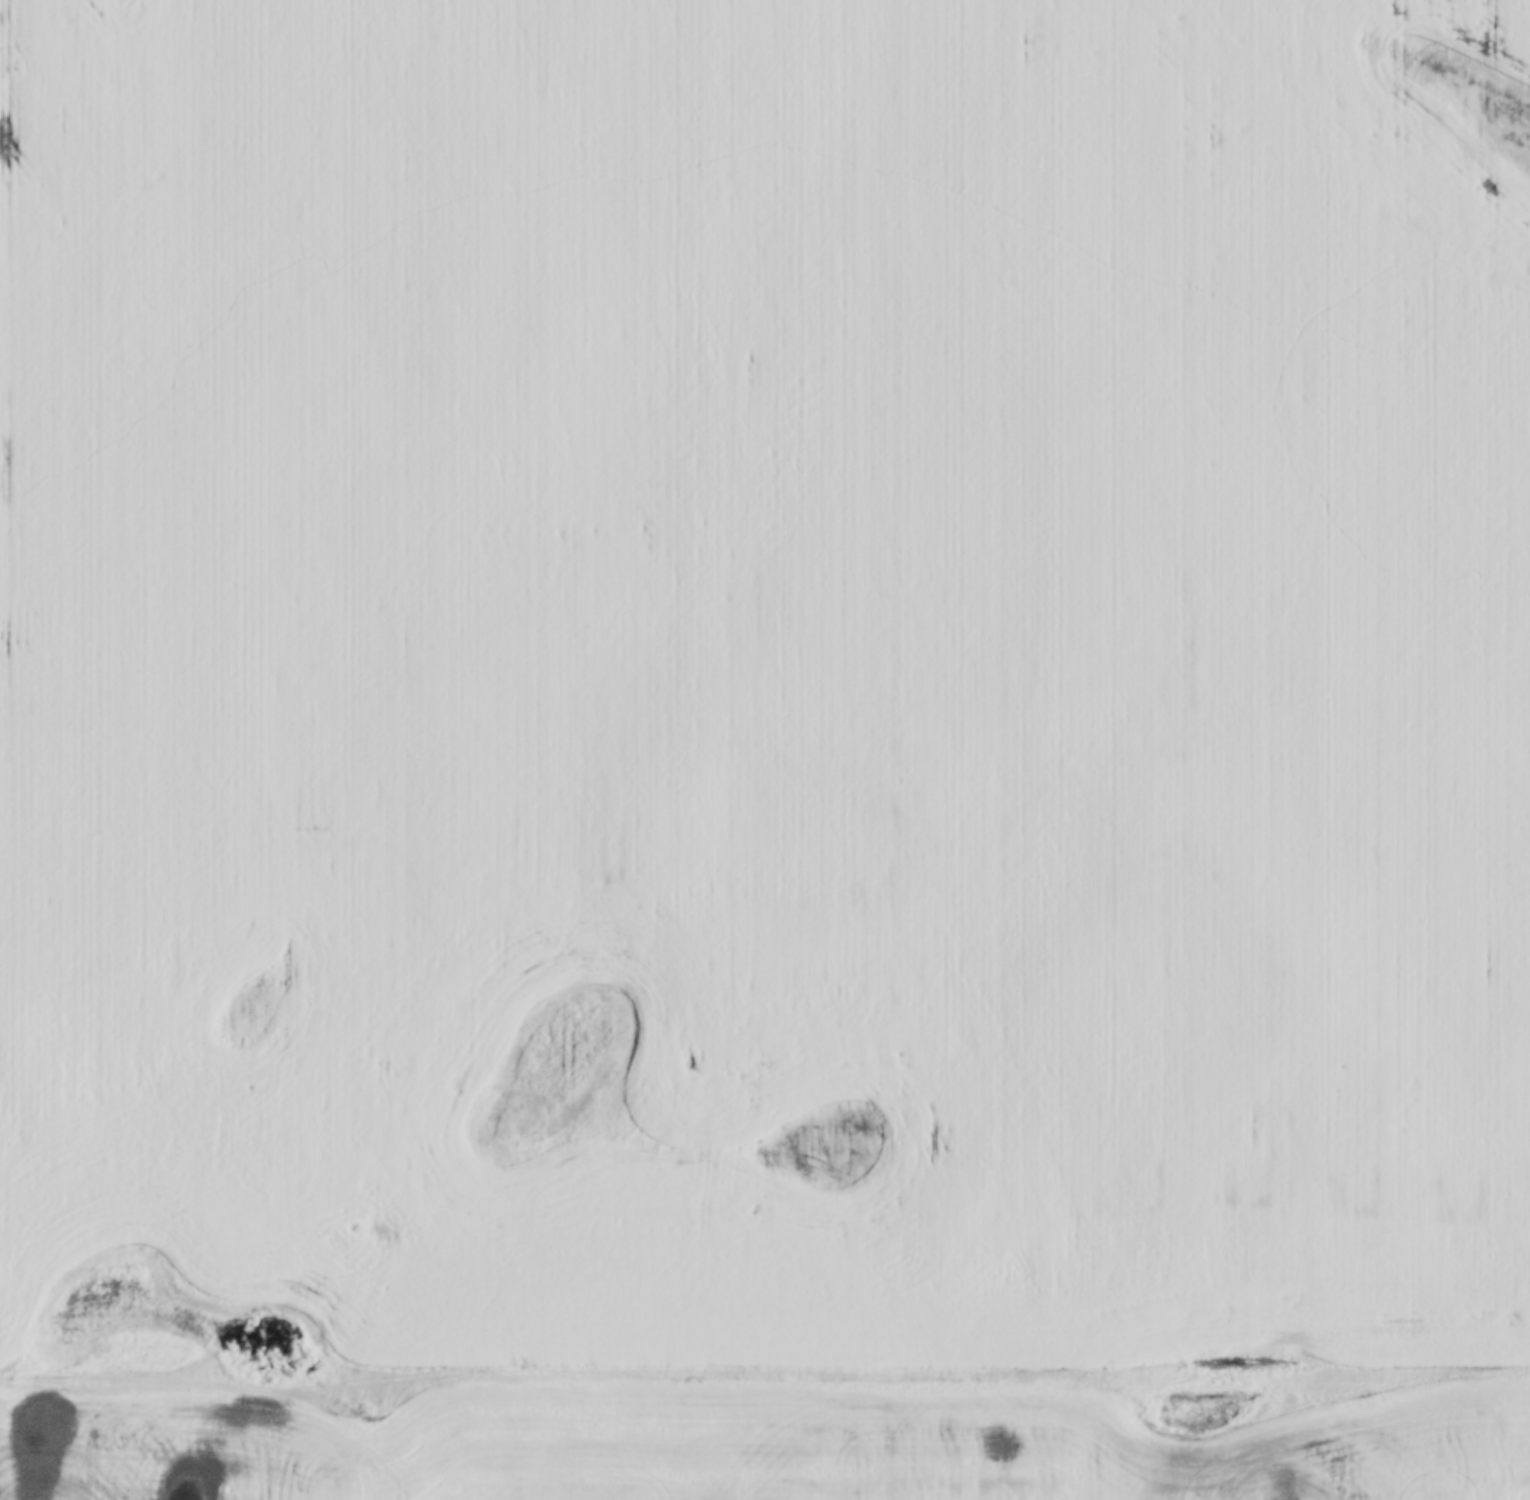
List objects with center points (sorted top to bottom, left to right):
road: (765, 1372)

